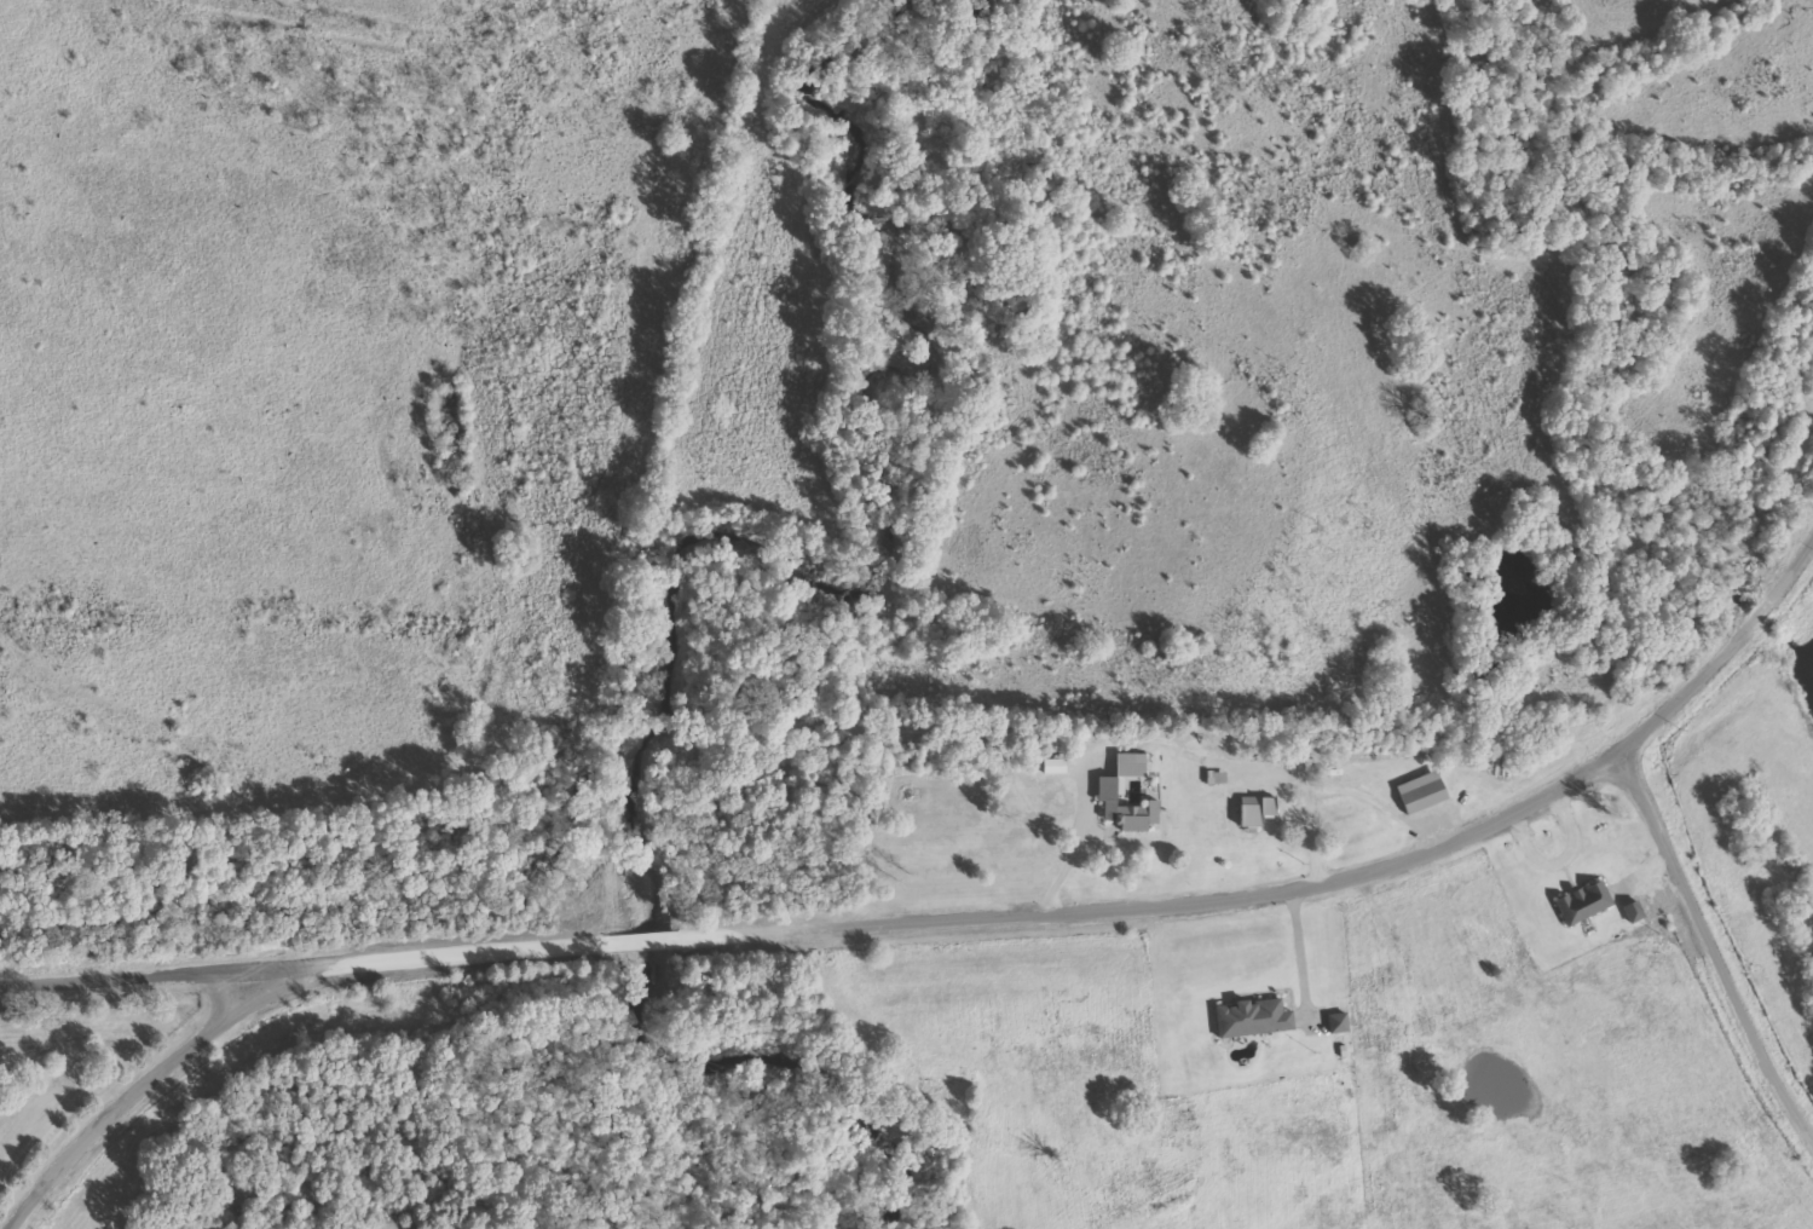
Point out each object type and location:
building: (1053, 767)
building: (1110, 786)
building: (1421, 794)
building: (1255, 810)
building: (1583, 904)
building: (1634, 912)
road: (931, 922)
road: (1713, 957)
road: (161, 979)
building: (1252, 1020)
building: (1339, 1025)

